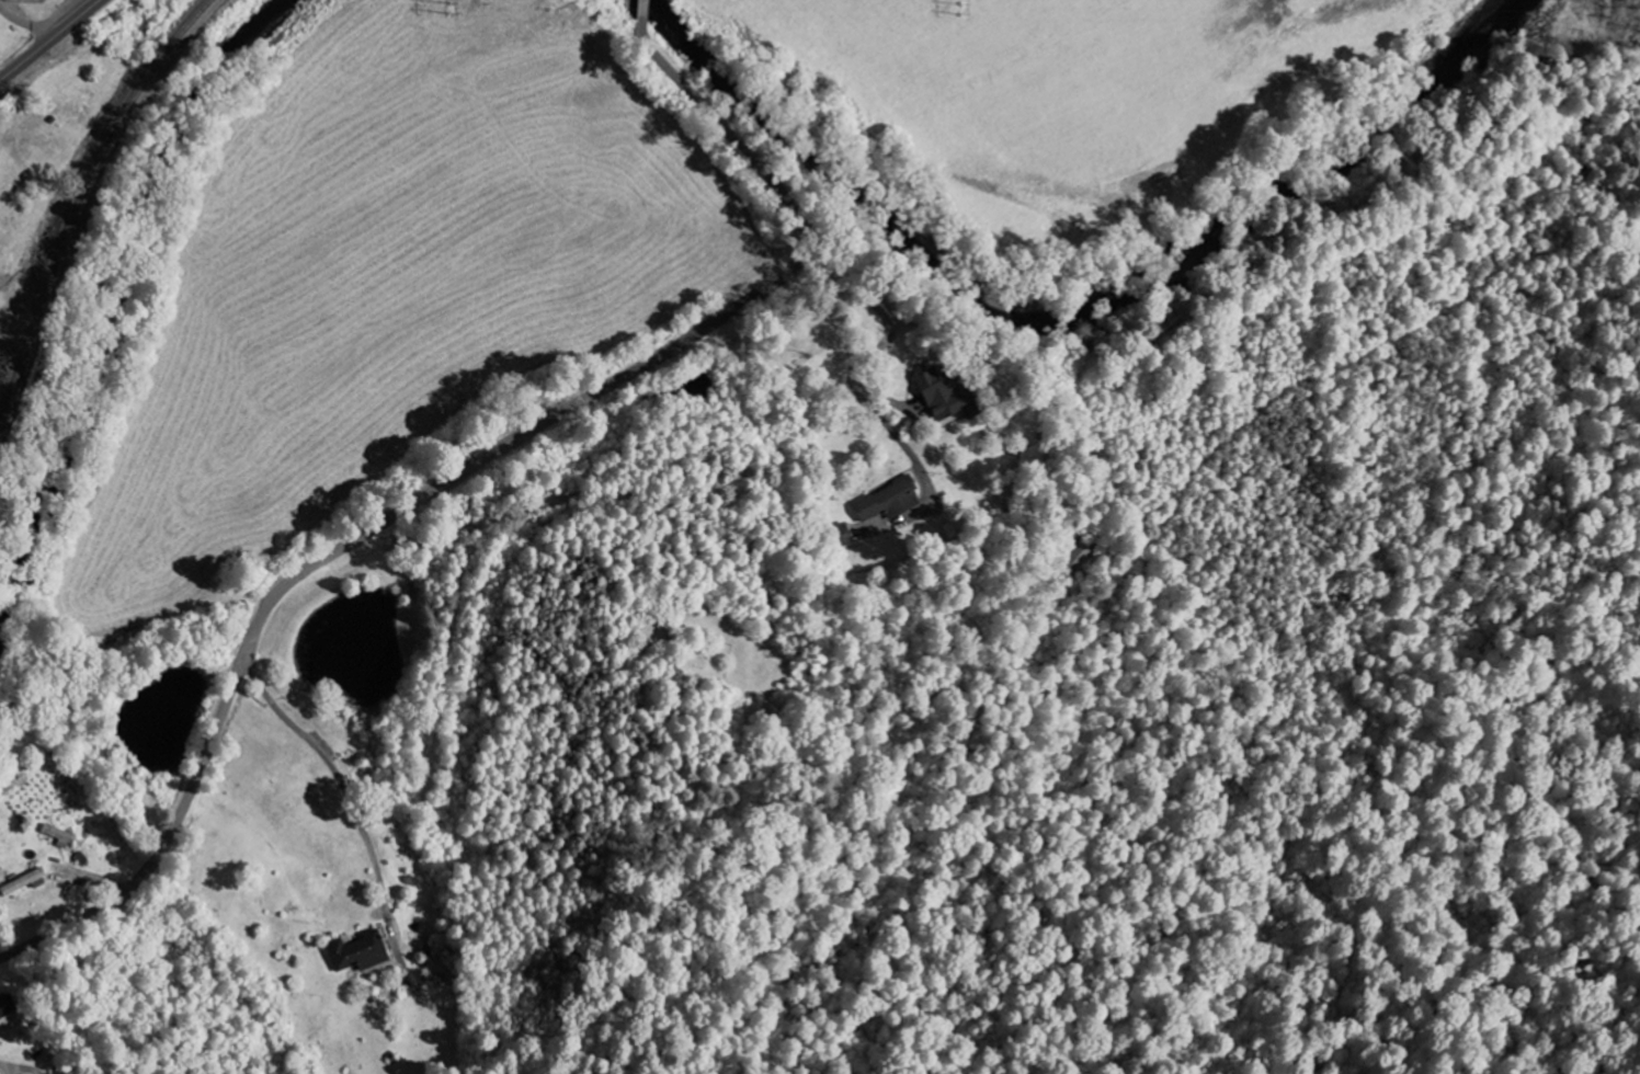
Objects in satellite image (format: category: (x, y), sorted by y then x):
road: (26, 21)
road: (50, 39)
railway: (81, 206)
building: (943, 392)
road: (472, 460)
building: (887, 501)
building: (1077, 557)
building: (59, 836)
building: (24, 882)
building: (357, 952)
building: (5, 1007)

